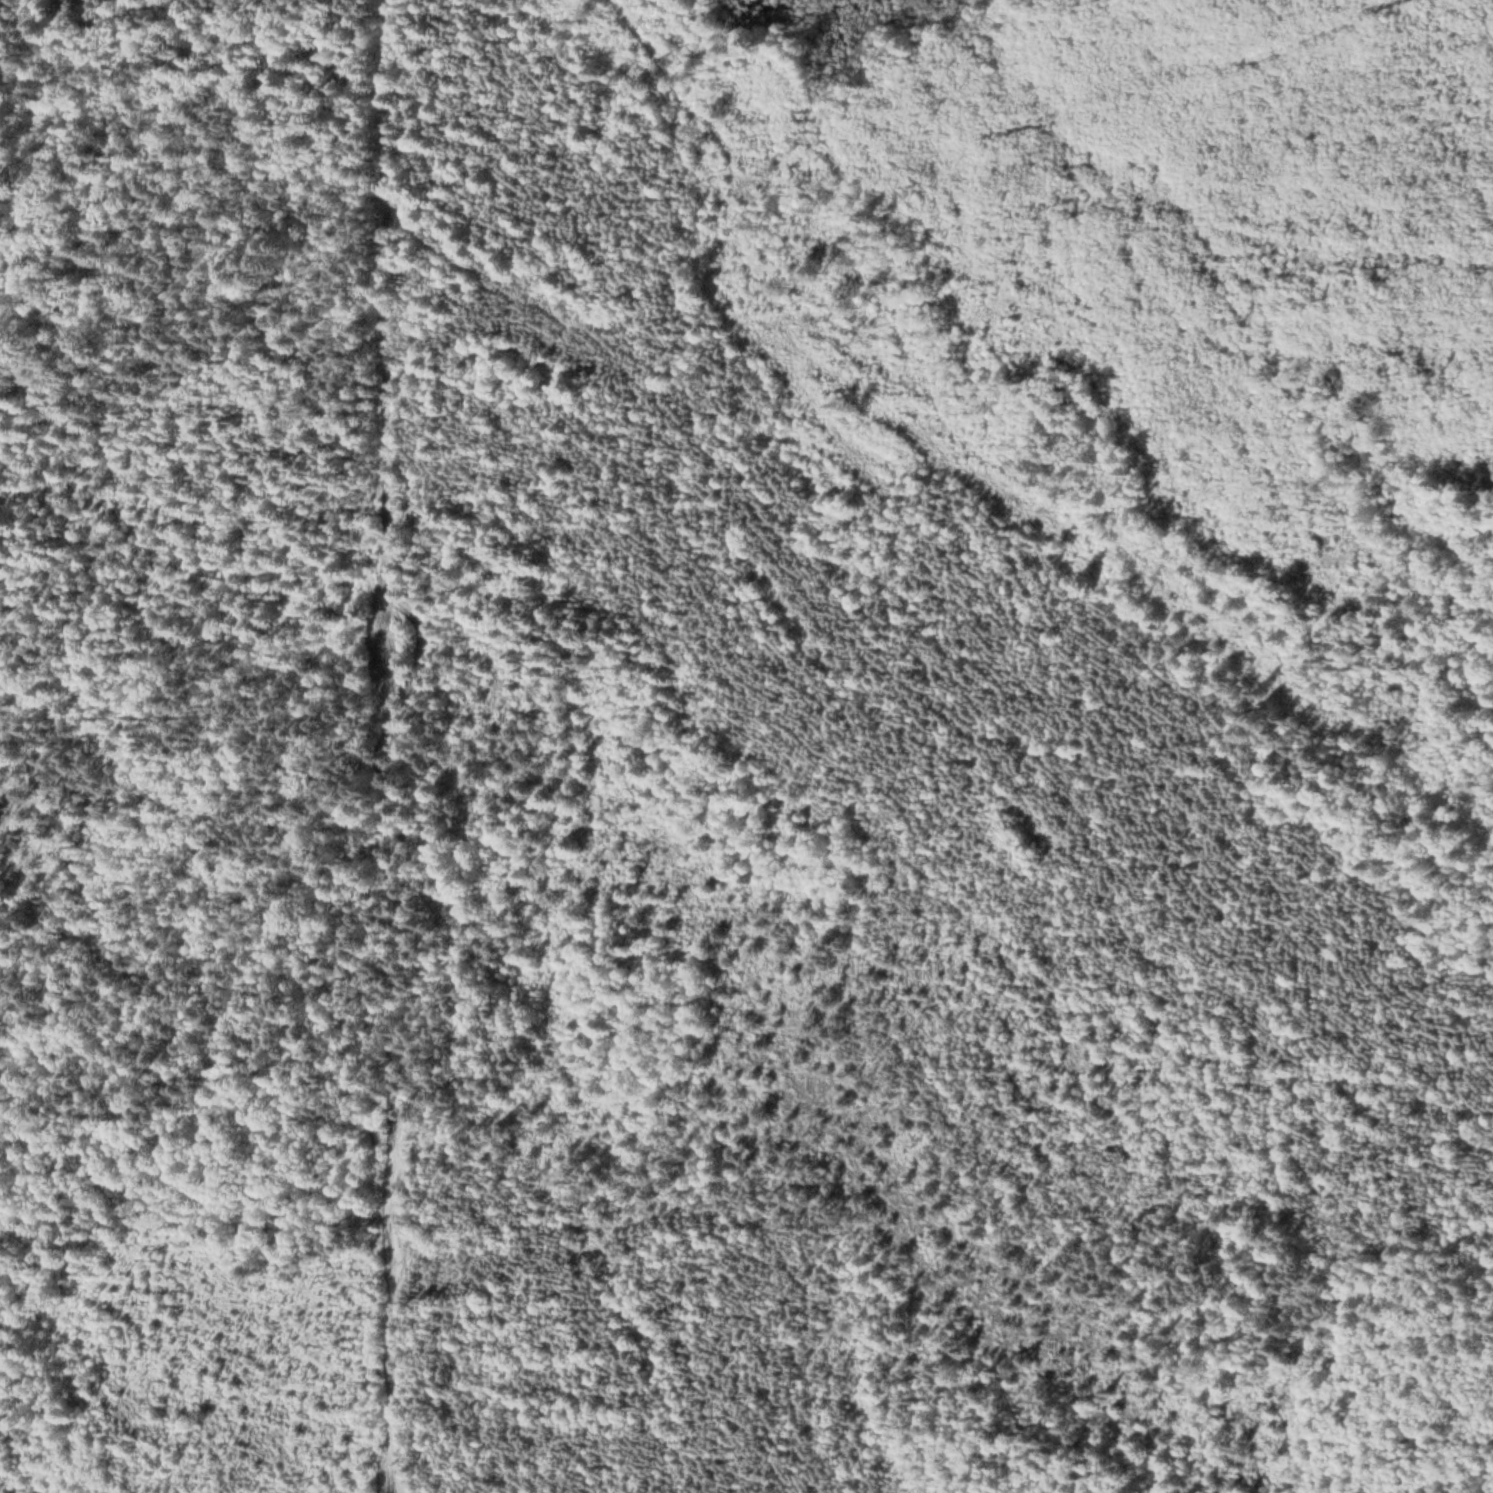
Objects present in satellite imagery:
road: (399, 746)

